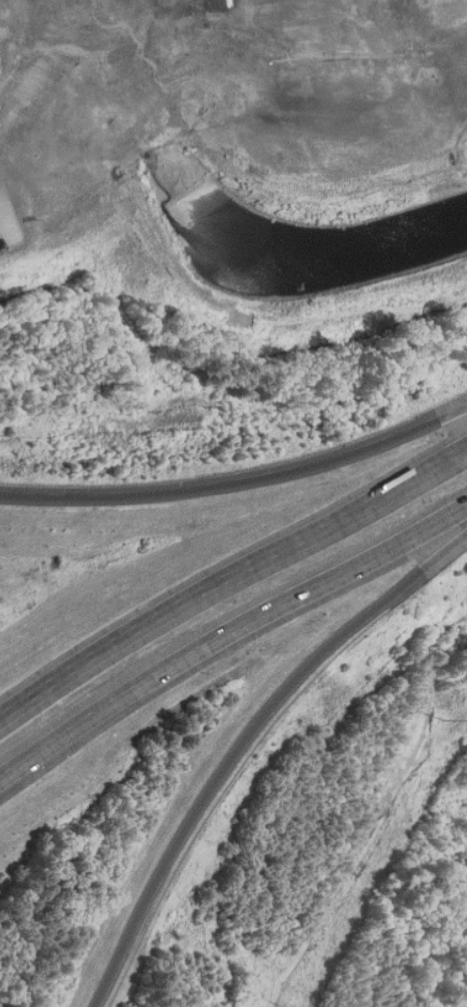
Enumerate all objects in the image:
road: (239, 481)
road: (229, 573)
road: (229, 632)
road: (247, 740)

